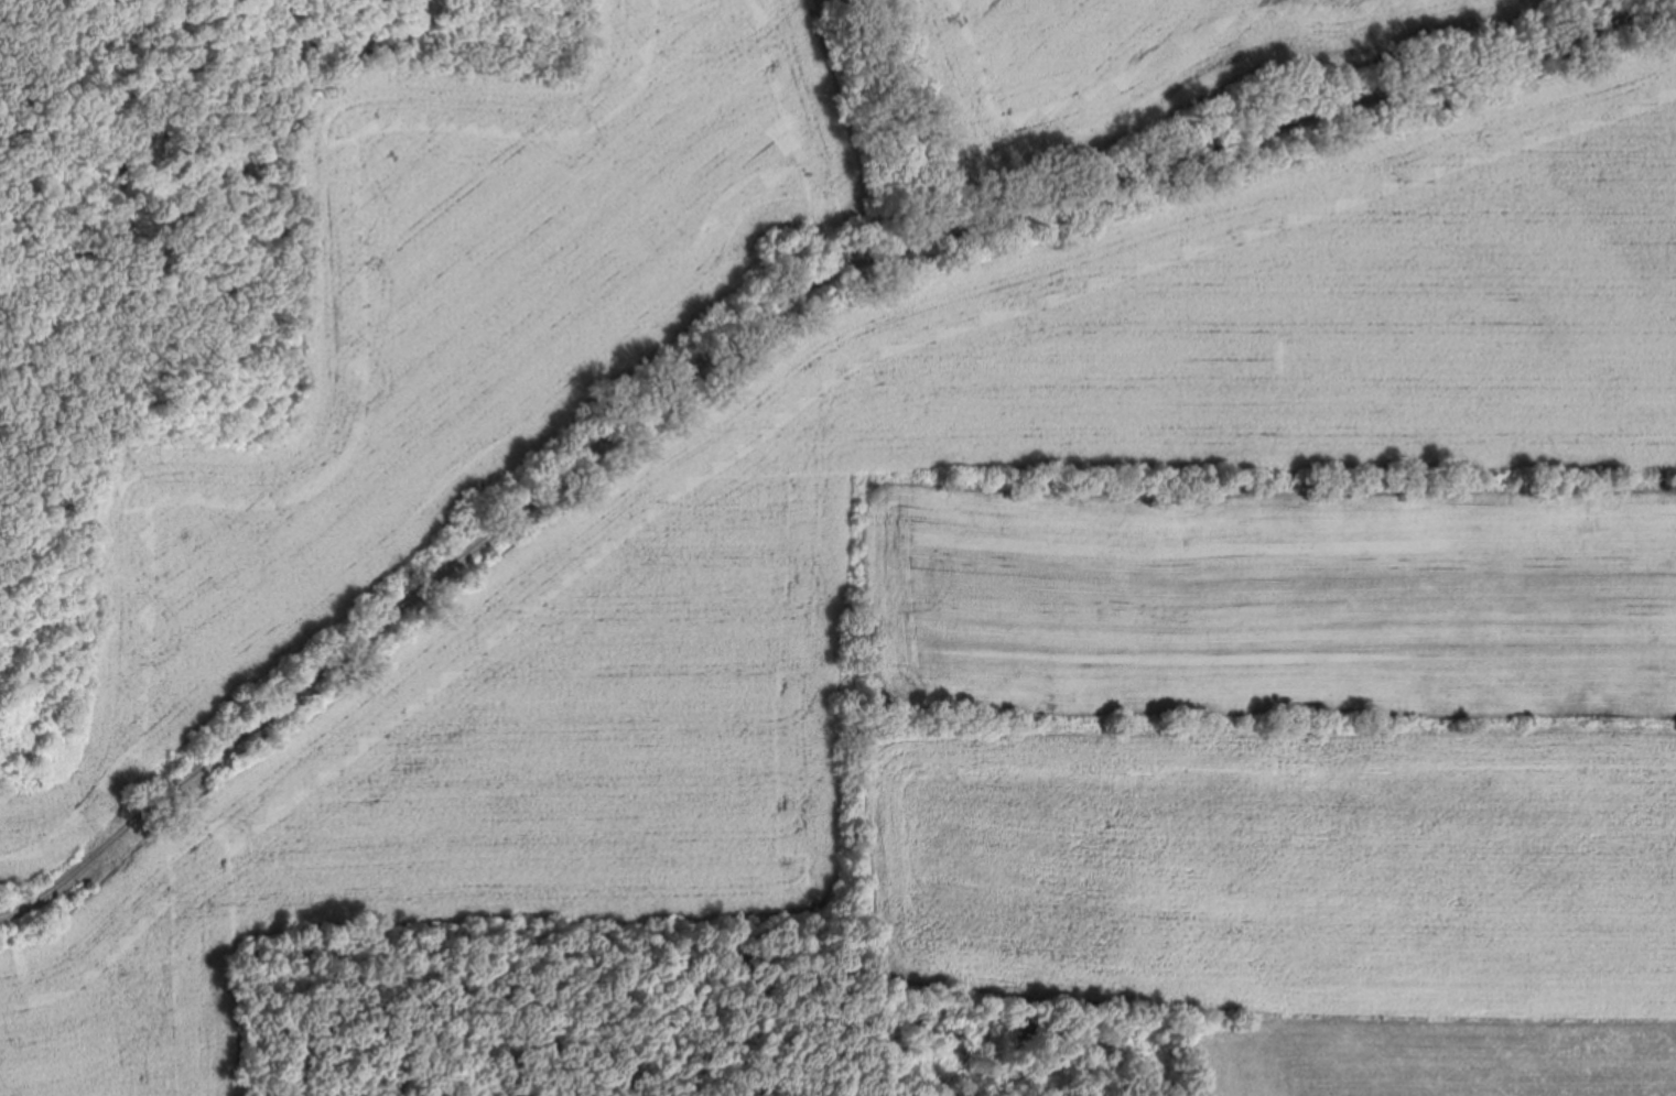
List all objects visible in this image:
road: (1298, 131)

